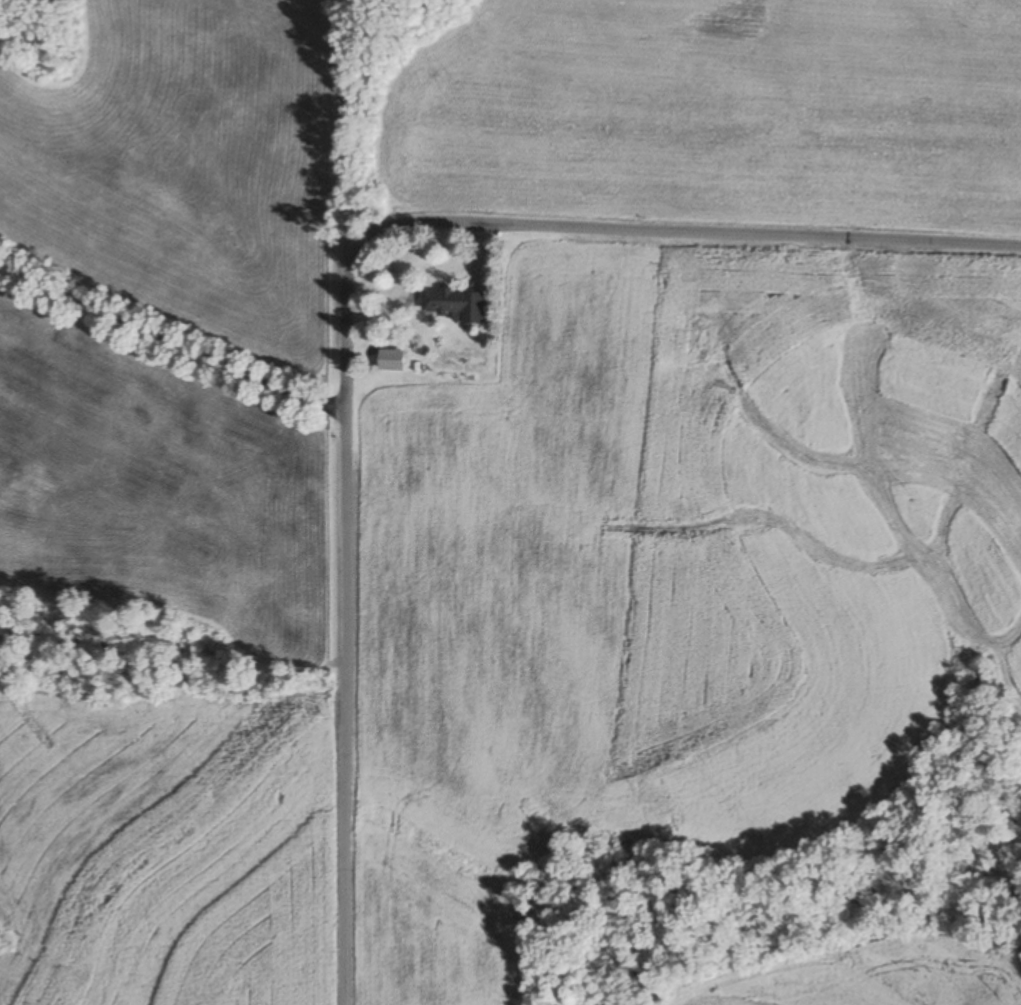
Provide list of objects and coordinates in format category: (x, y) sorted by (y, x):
road: (345, 290)
building: (455, 305)

